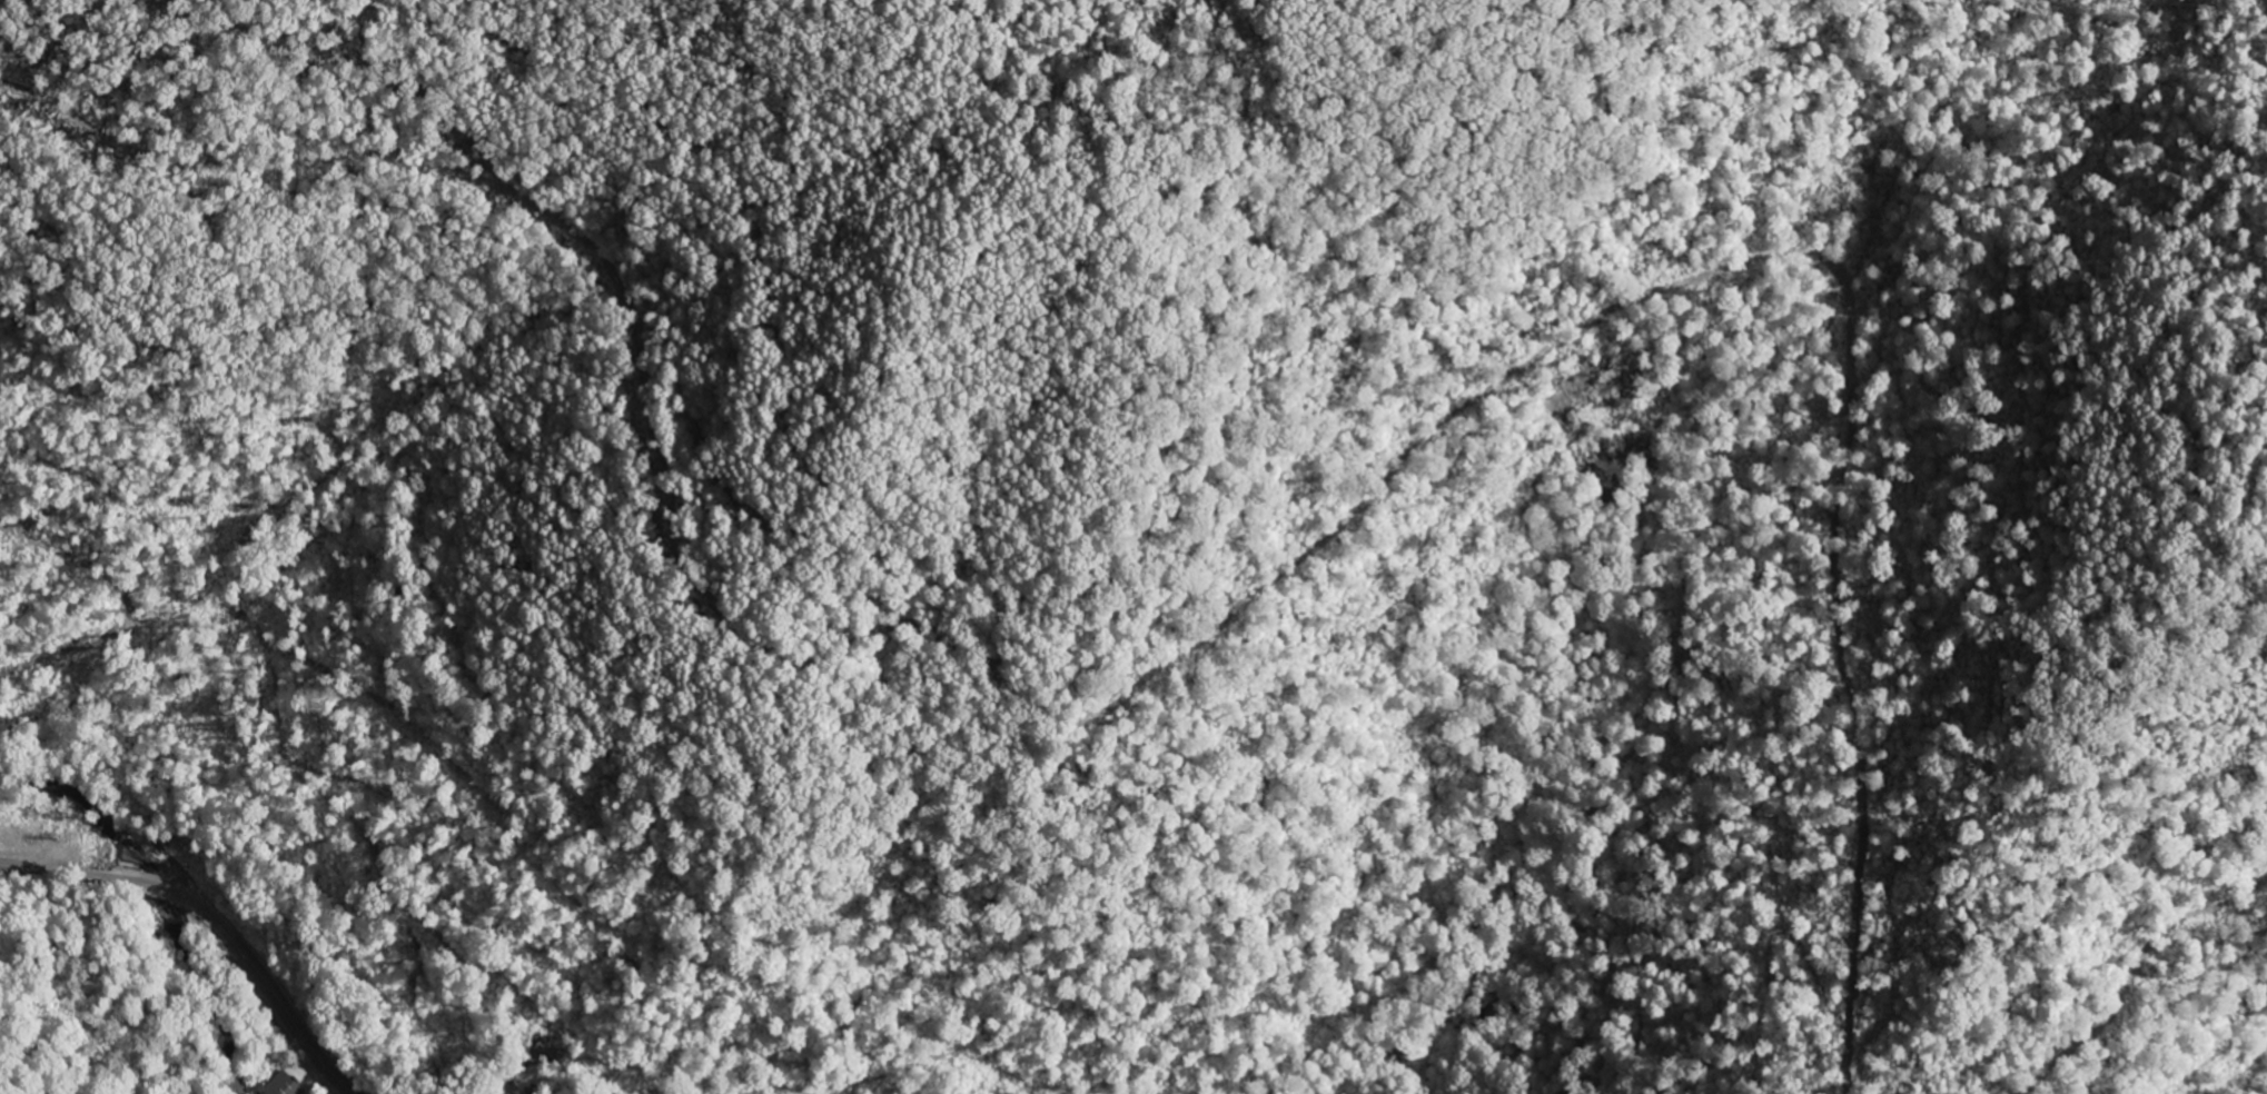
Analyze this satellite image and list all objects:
road: (202, 913)
building: (286, 1085)

